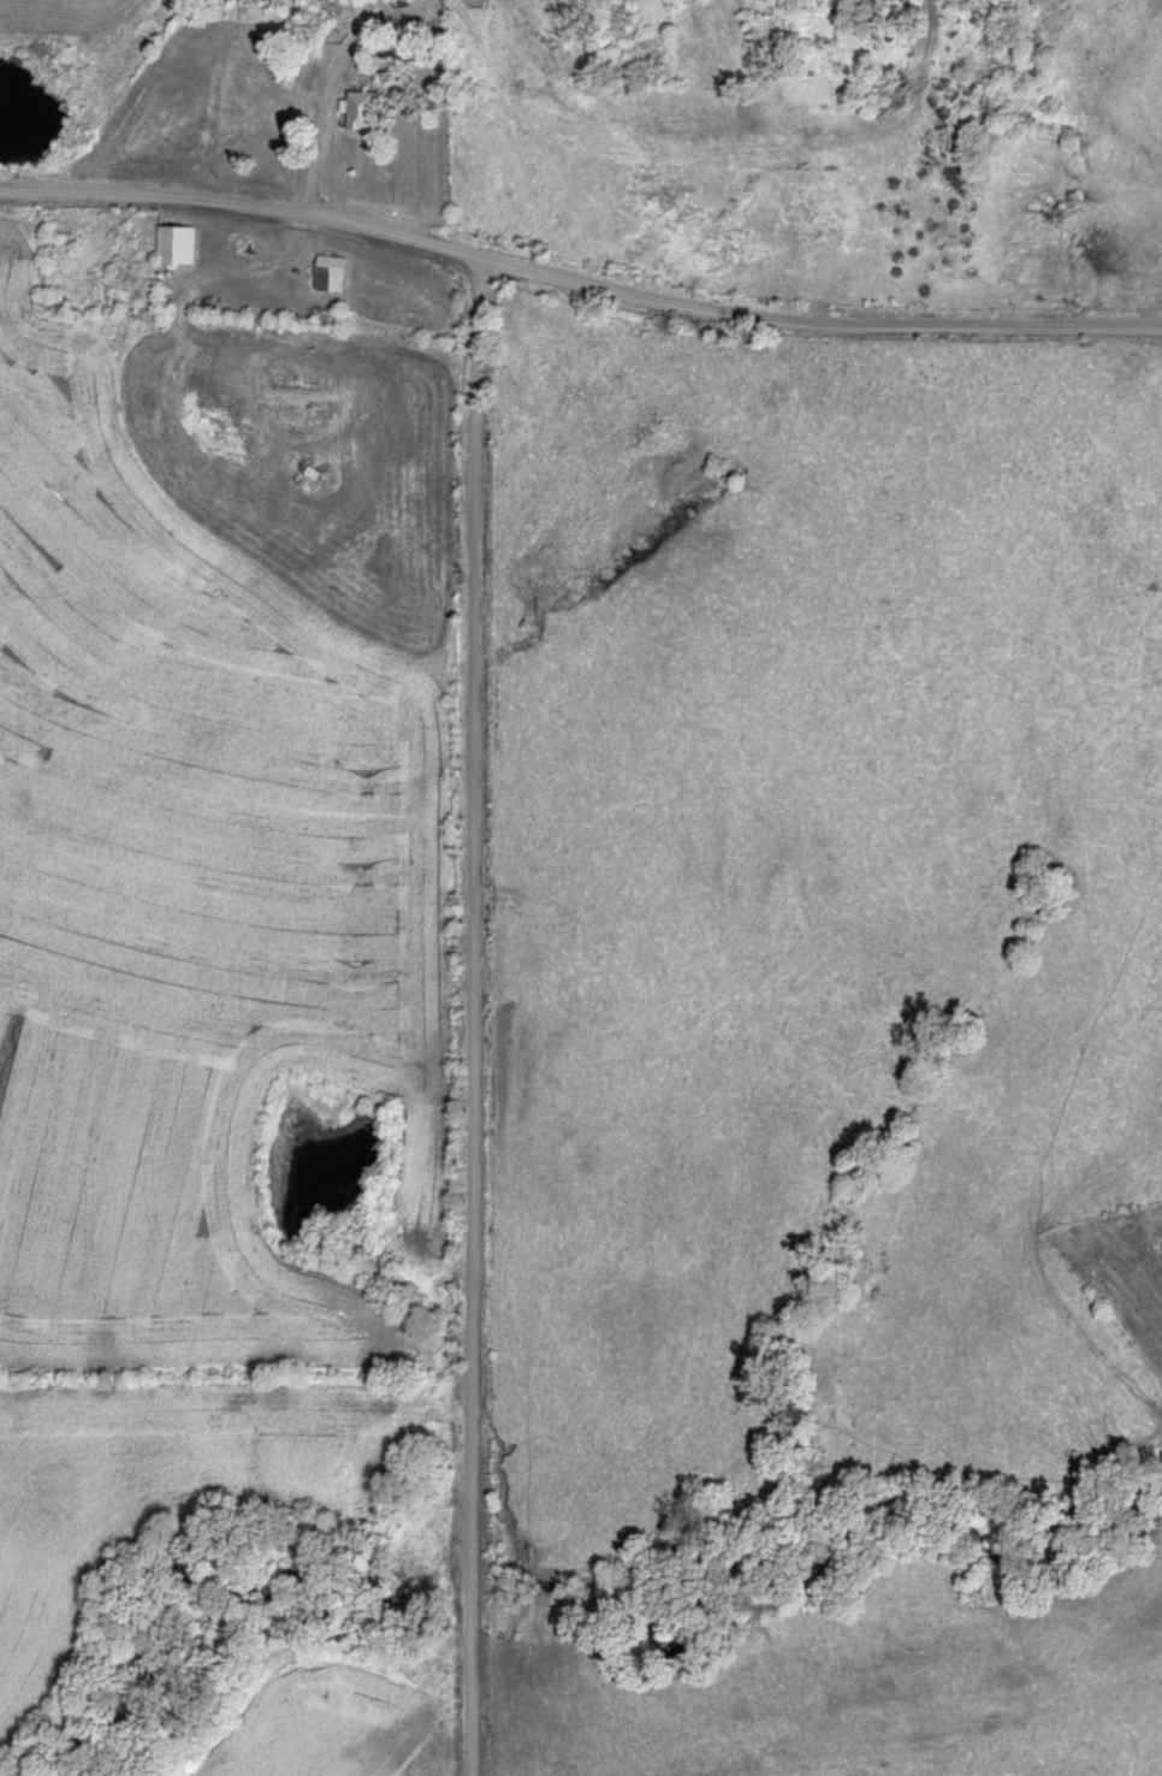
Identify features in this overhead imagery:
building: (357, 112)
building: (173, 243)
building: (328, 273)
road: (579, 280)
road: (473, 1017)

